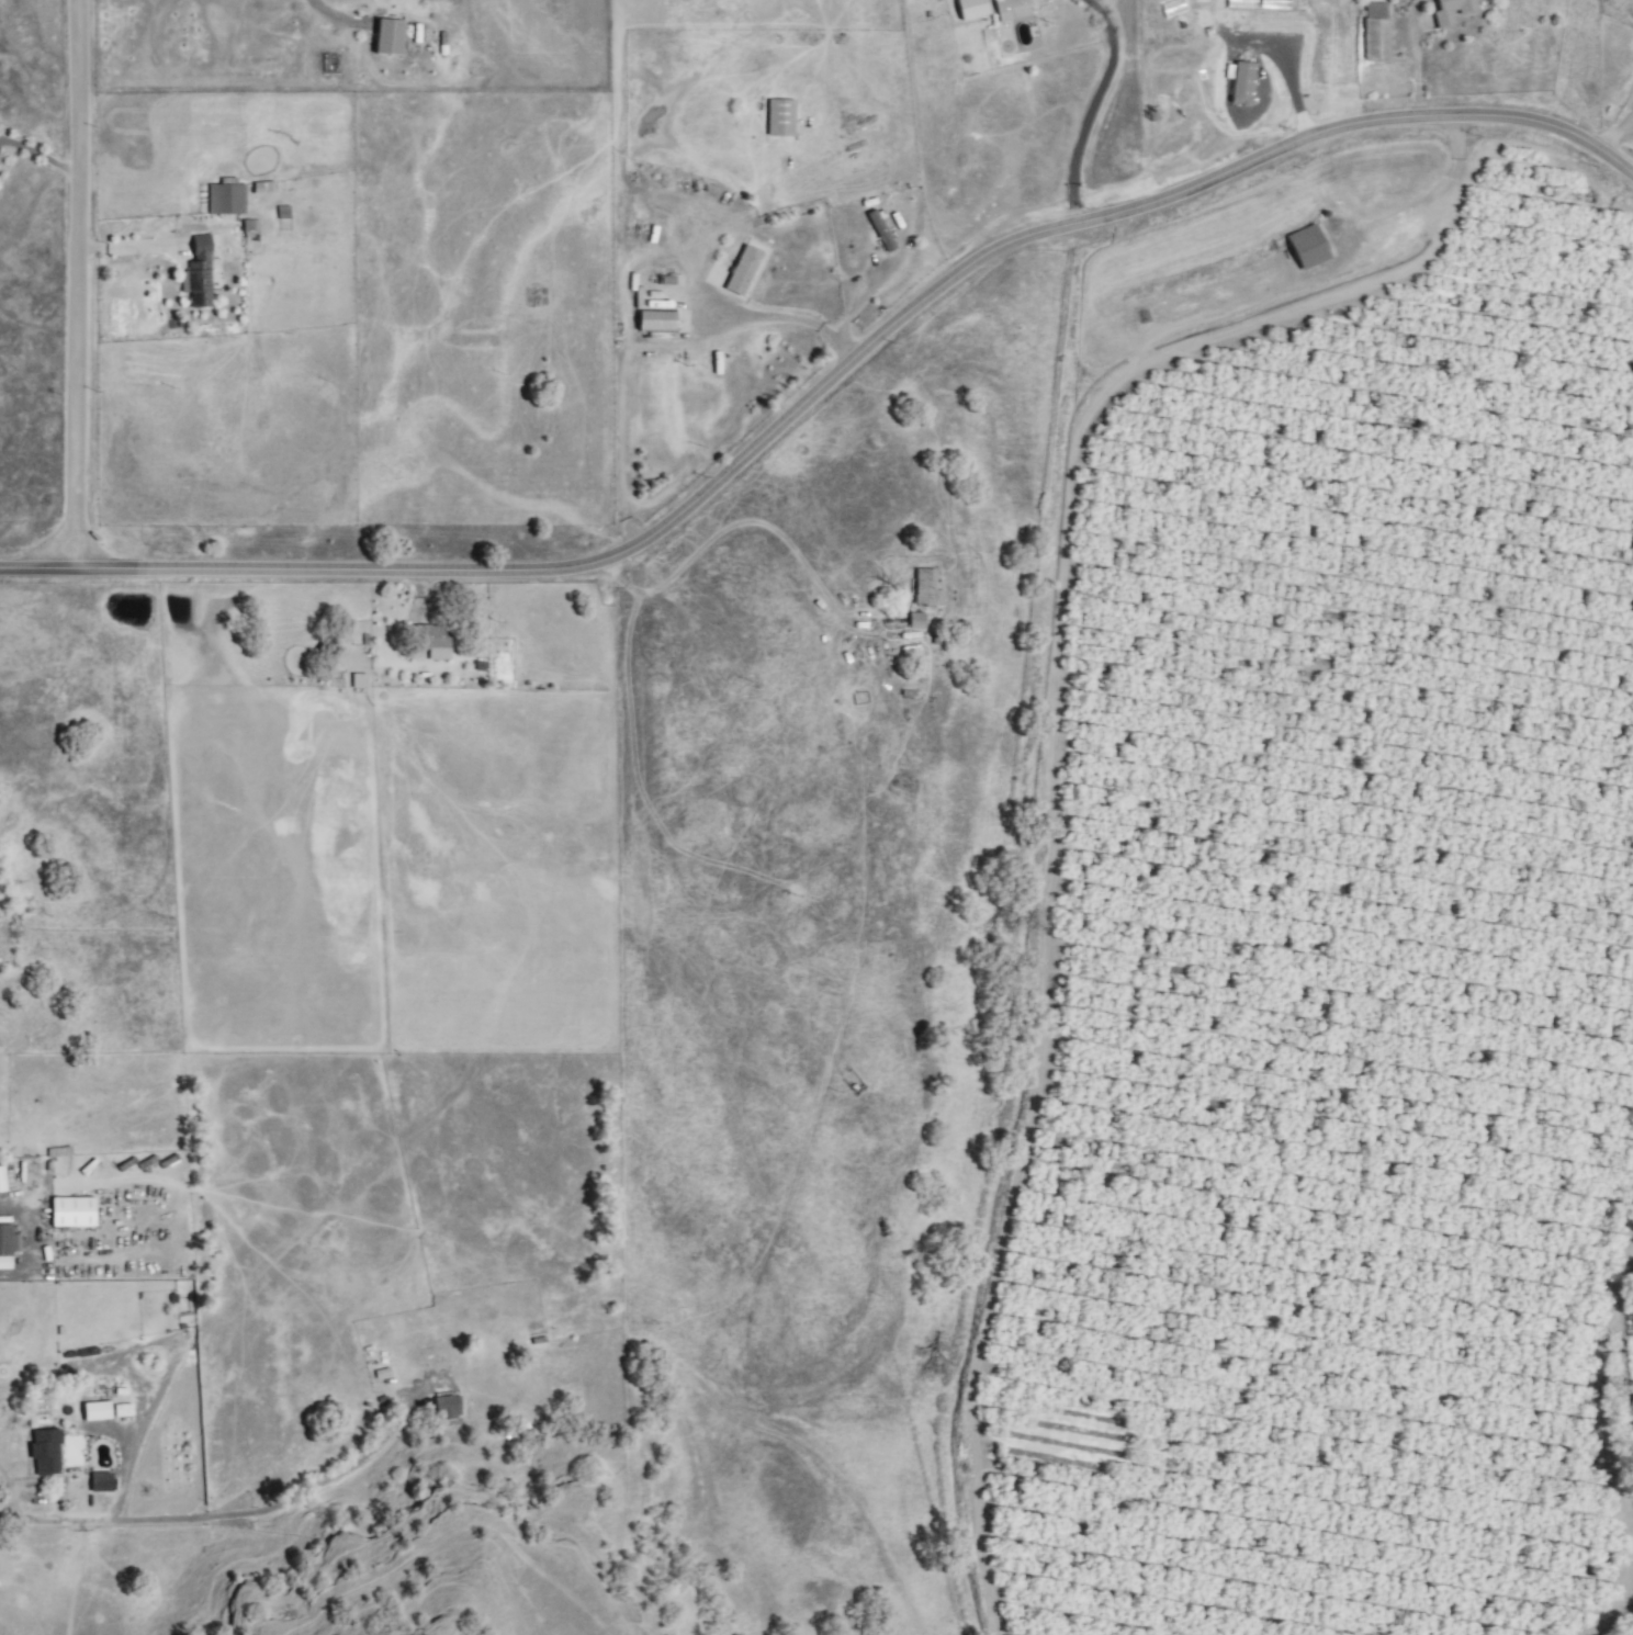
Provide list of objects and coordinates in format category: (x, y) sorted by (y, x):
building: (1015, 9)
building: (1453, 10)
building: (1377, 35)
building: (392, 37)
road: (1090, 111)
building: (784, 117)
road: (1620, 137)
road: (40, 157)
road: (1430, 198)
building: (229, 199)
building: (248, 229)
building: (882, 230)
building: (1309, 247)
building: (745, 271)
building: (201, 273)
road: (77, 285)
building: (658, 322)
road: (650, 343)
road: (826, 388)
building: (928, 587)
building: (920, 621)
building: (435, 636)
building: (1, 1181)
building: (76, 1213)
building: (5, 1240)
road: (3, 1271)
building: (431, 1346)
building: (447, 1408)
building: (99, 1411)
building: (48, 1452)
road: (337, 1469)
road: (117, 1520)

